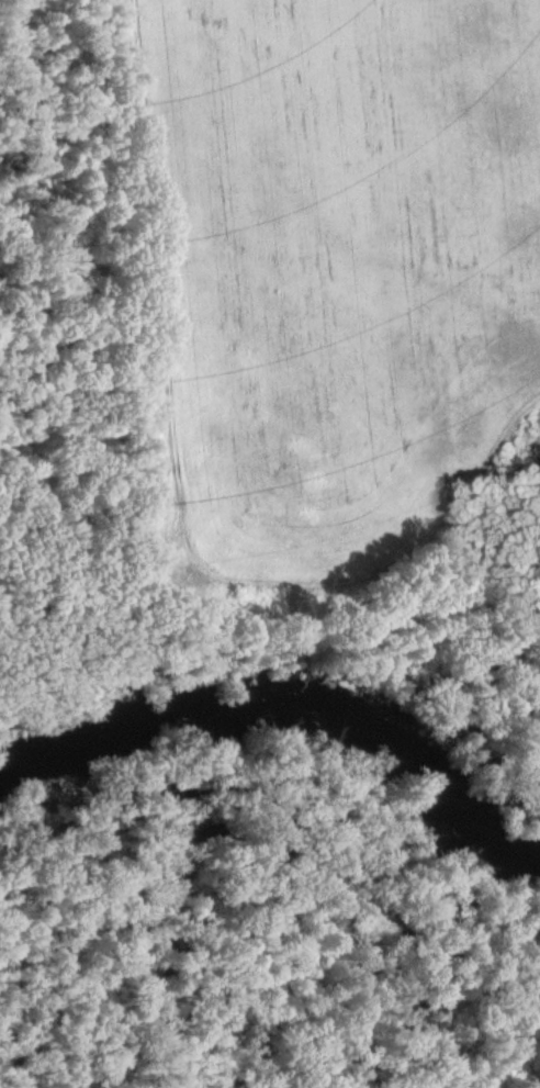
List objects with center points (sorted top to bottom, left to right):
river: (296, 700)

